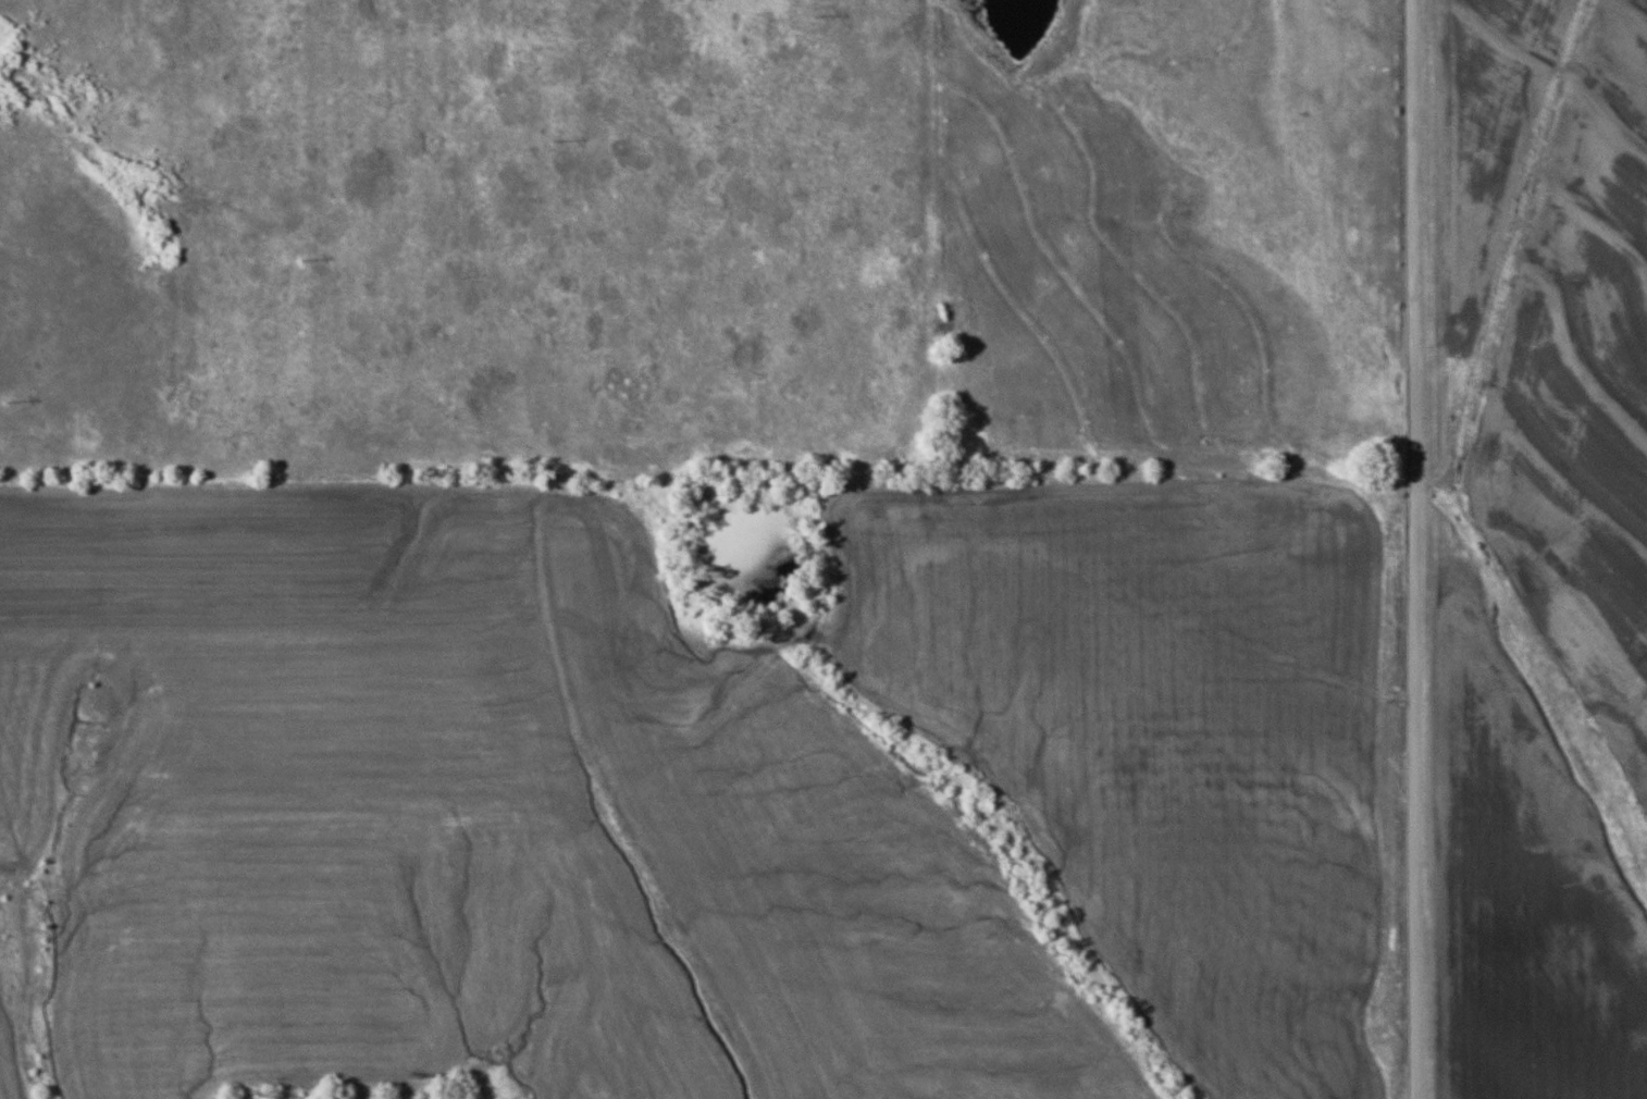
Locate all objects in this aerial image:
road: (1414, 548)

